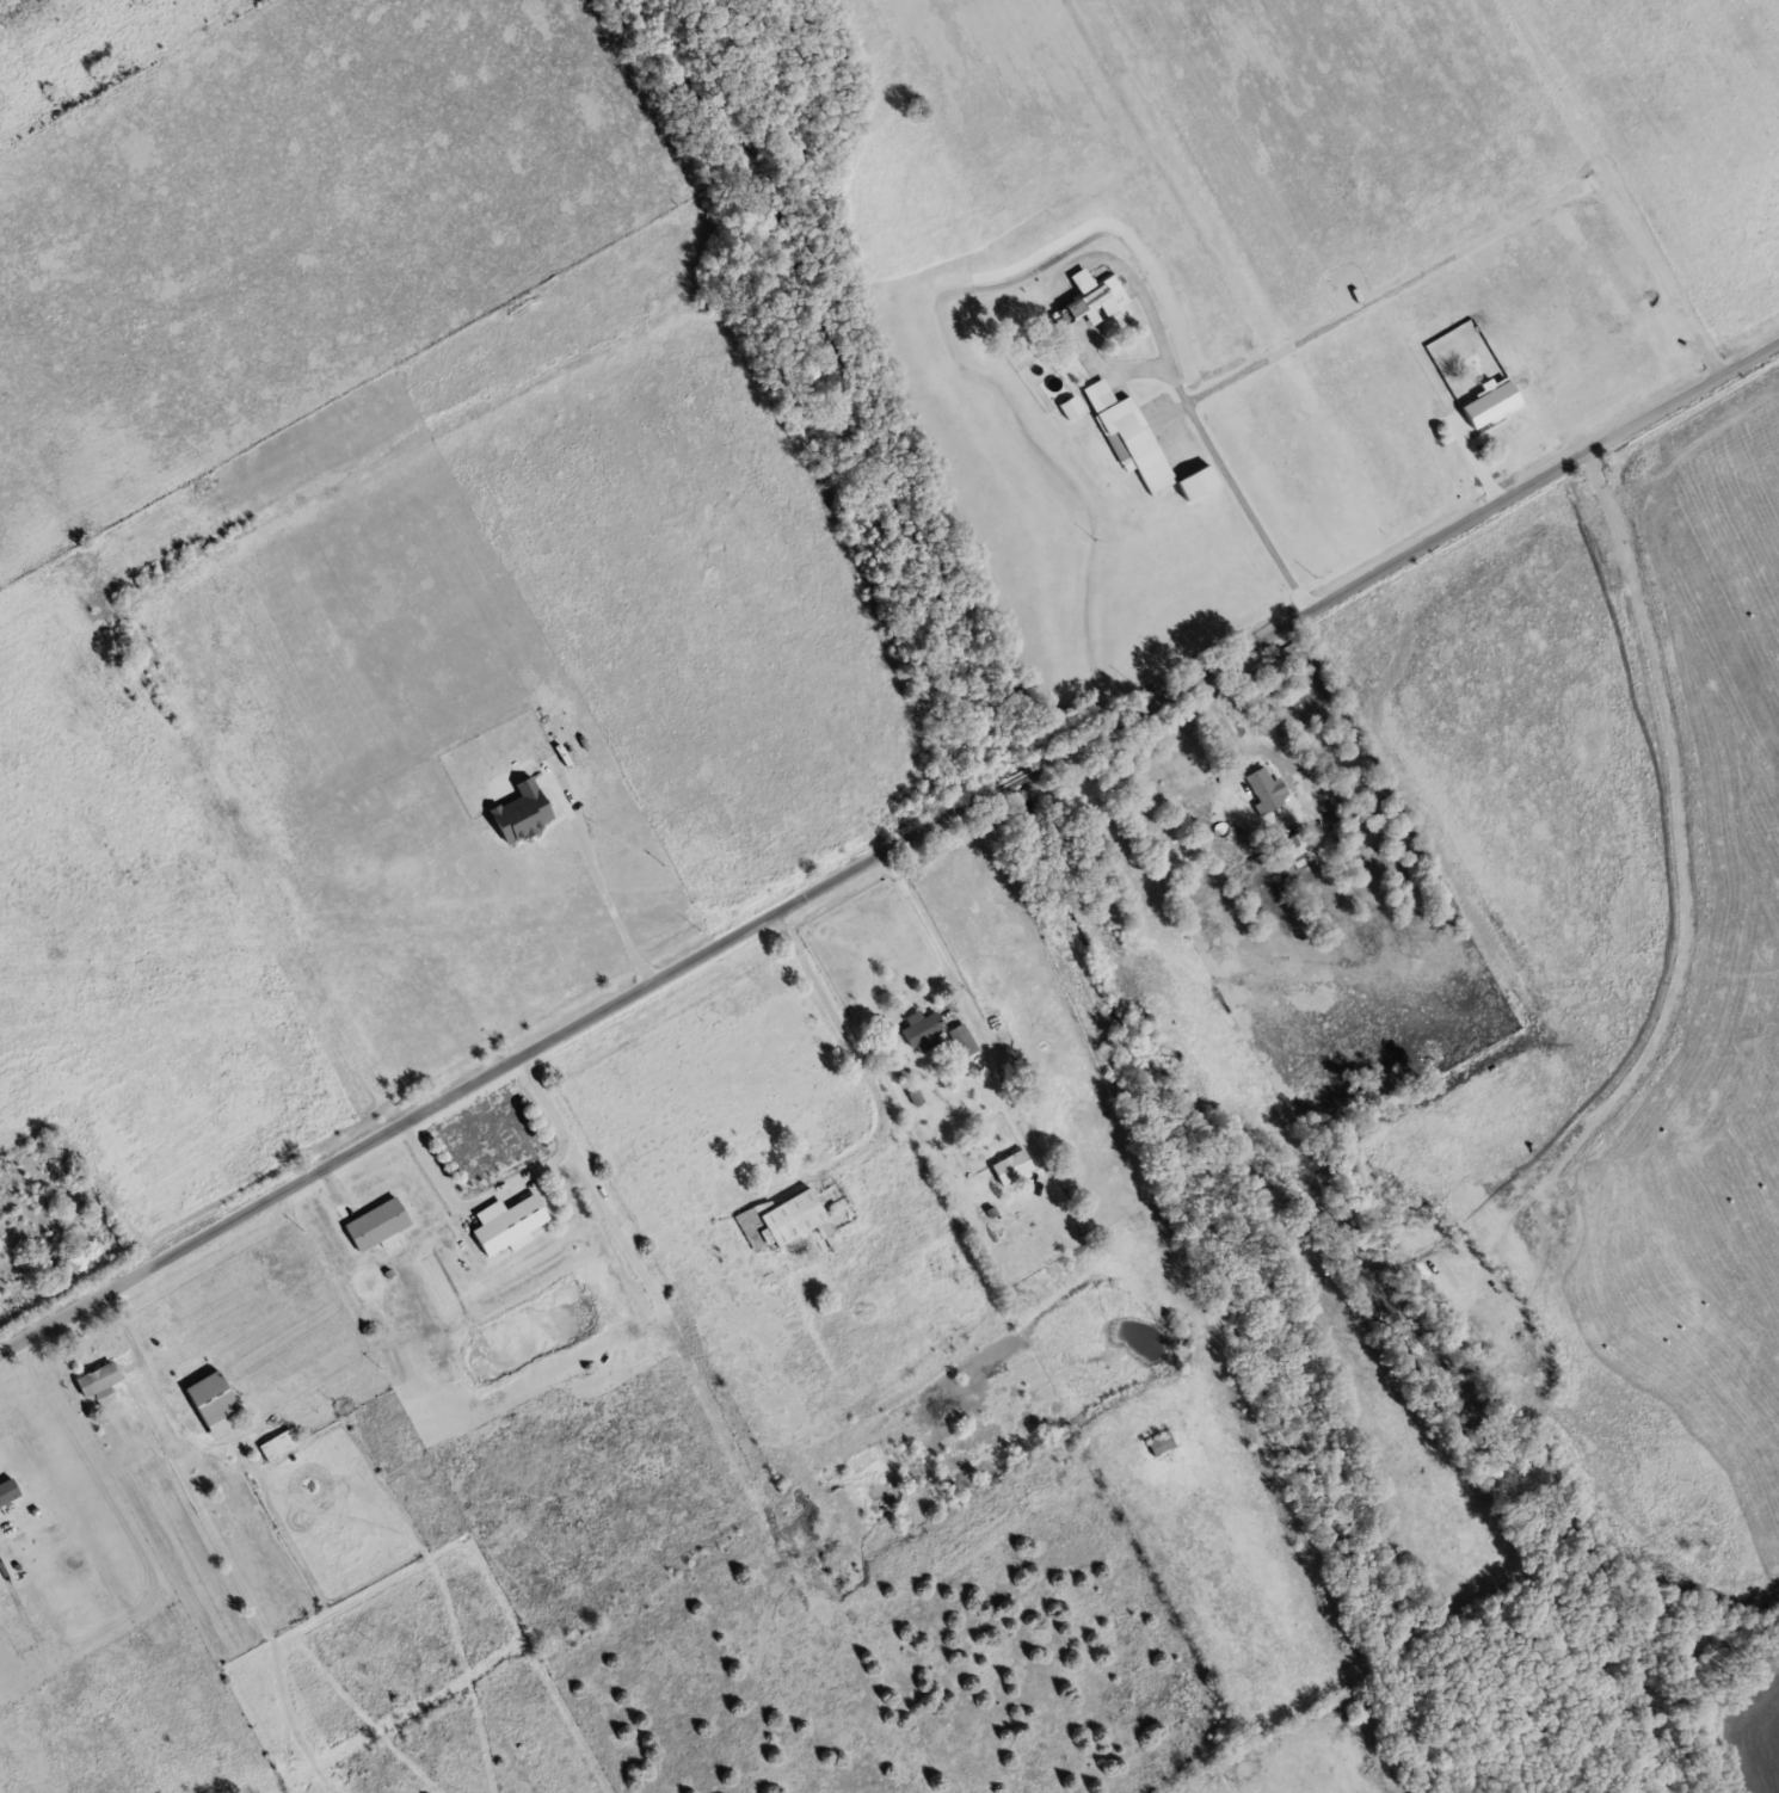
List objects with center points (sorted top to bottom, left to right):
road: (1617, 185)
road: (1399, 286)
building: (1097, 289)
building: (1143, 448)
road: (1237, 488)
building: (1261, 788)
road: (891, 850)
road: (604, 893)
road: (969, 1006)
building: (919, 1027)
road: (849, 1037)
building: (960, 1037)
building: (1008, 1165)
road: (517, 1181)
building: (780, 1219)
building: (504, 1222)
building: (96, 1378)
building: (208, 1397)
building: (277, 1442)
building: (1159, 1442)

